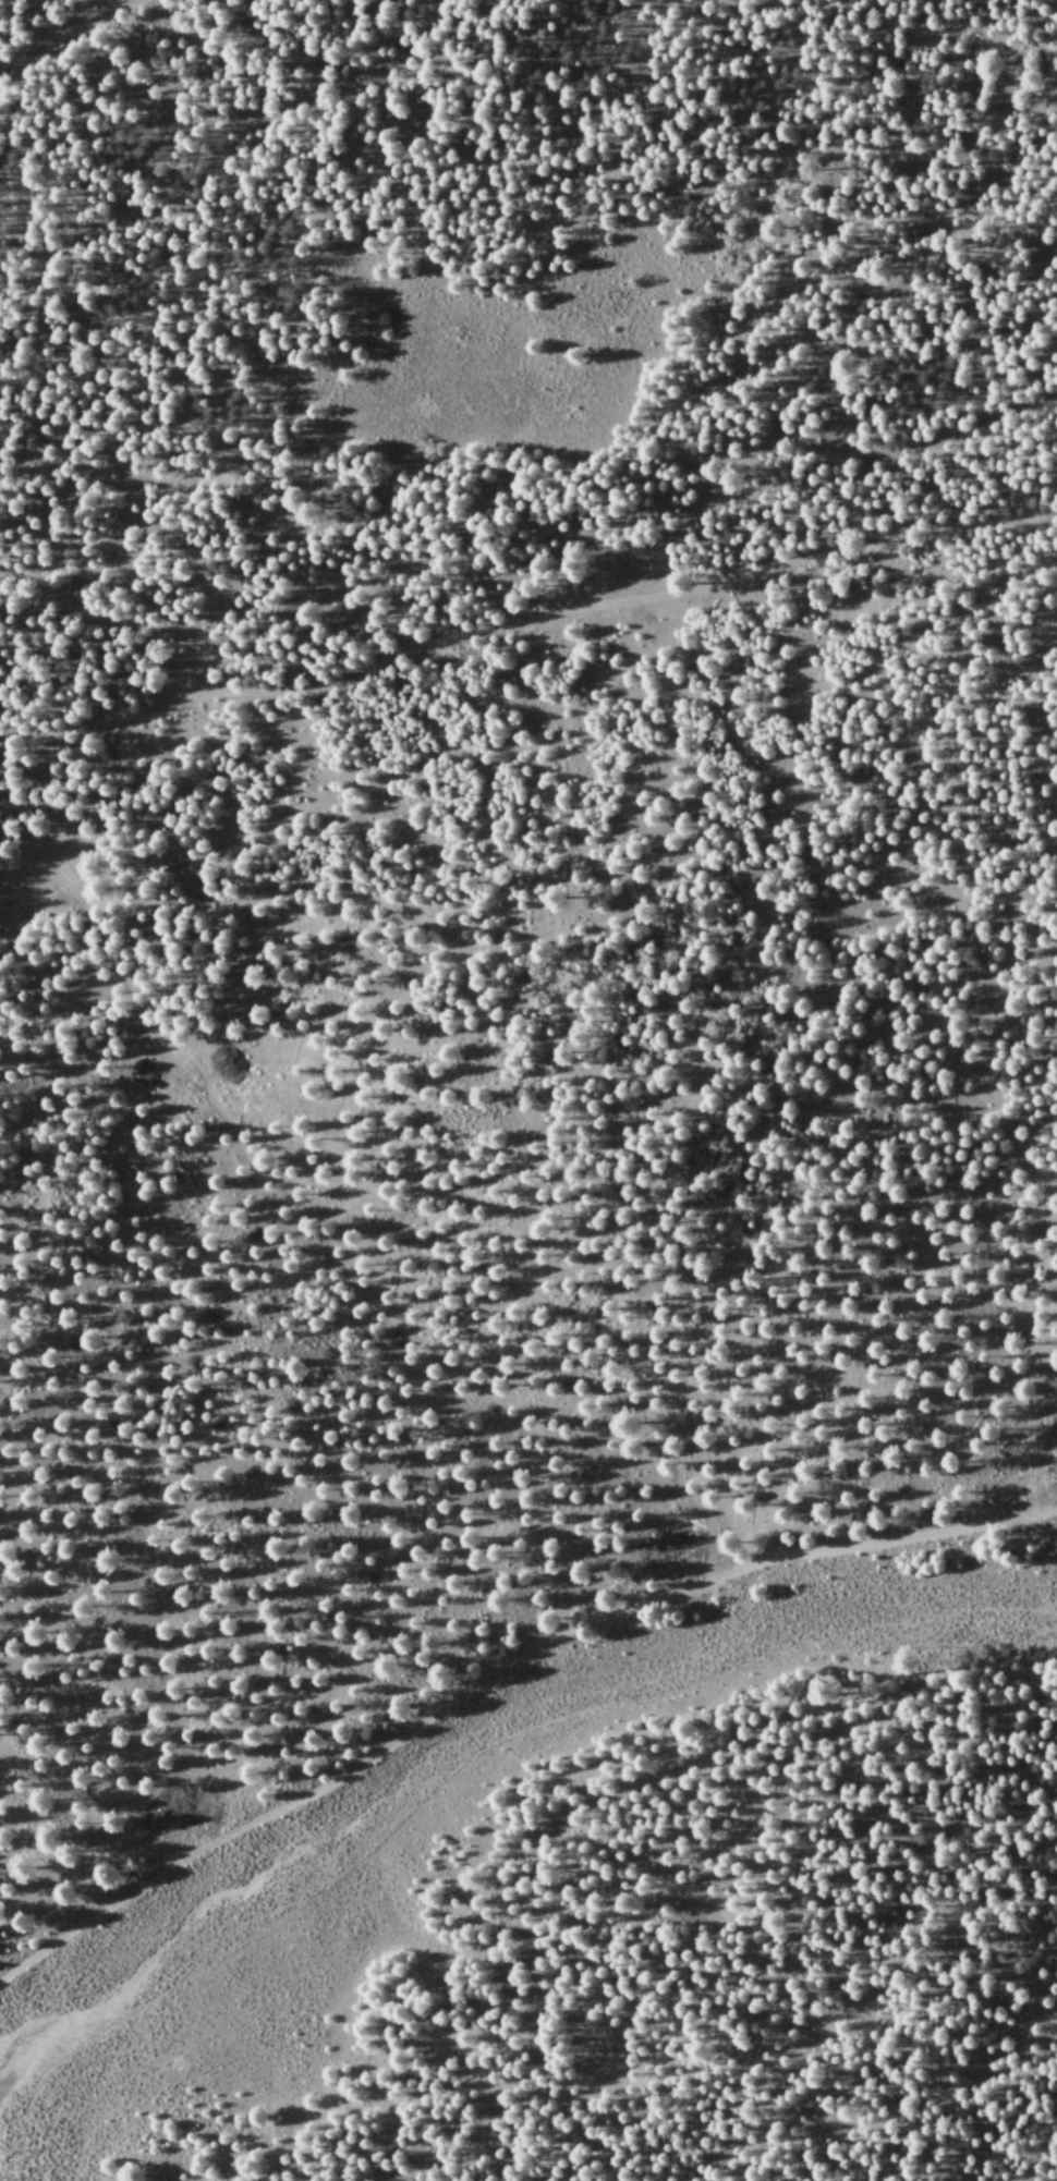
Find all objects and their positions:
road: (56, 27)
road: (579, 1830)

